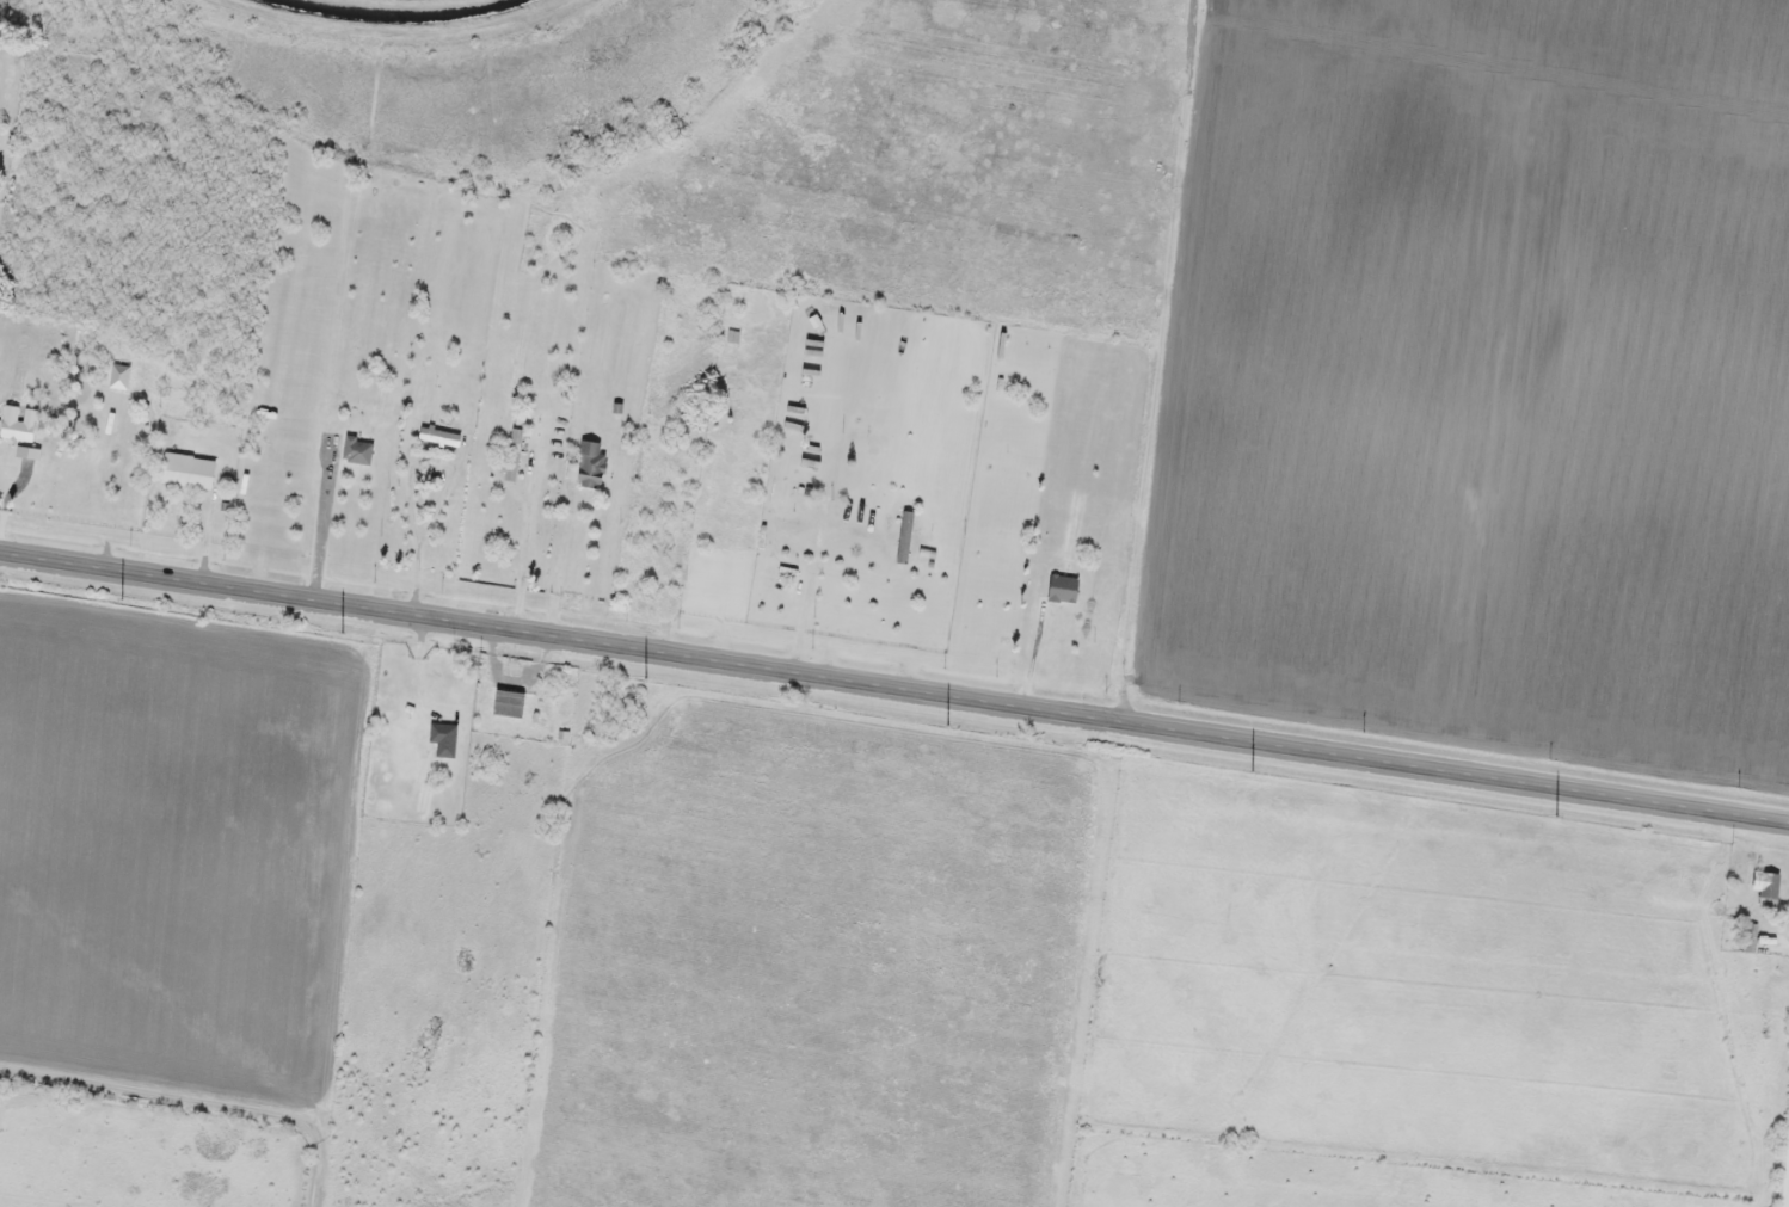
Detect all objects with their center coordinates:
building: (118, 375)
building: (439, 435)
building: (357, 449)
building: (512, 452)
building: (590, 463)
building: (187, 470)
road: (1152, 530)
building: (904, 536)
road: (893, 690)
building: (509, 702)
building: (443, 739)
building: (1765, 886)
building: (1747, 935)
road: (1785, 1178)

